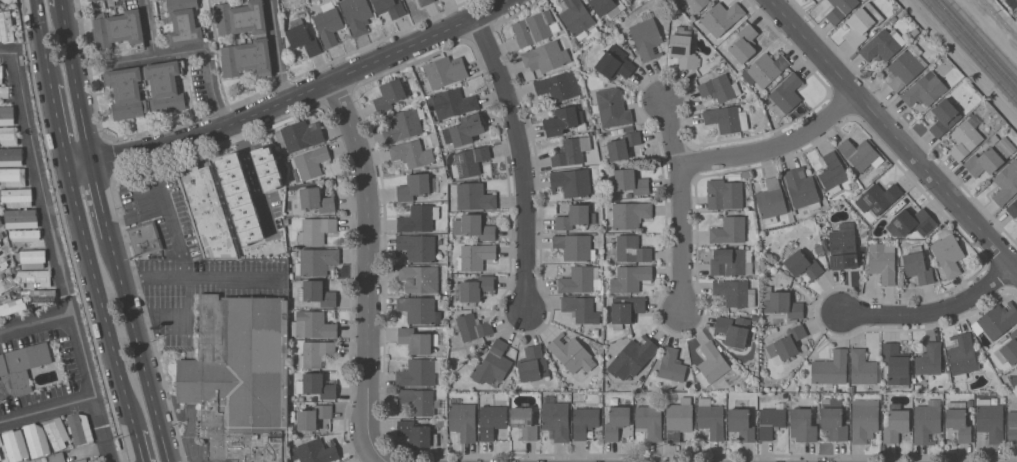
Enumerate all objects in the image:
building: (89, 0)
building: (675, 1)
road: (61, 2)
building: (425, 2)
building: (1012, 2)
building: (697, 4)
building: (390, 7)
building: (605, 7)
building: (840, 9)
building: (356, 15)
building: (576, 16)
building: (721, 17)
building: (894, 17)
building: (183, 22)
building: (328, 23)
building: (862, 23)
building: (6, 26)
building: (117, 28)
building: (532, 28)
building: (647, 36)
railway: (983, 36)
building: (302, 38)
building: (260, 40)
building: (580, 41)
railway: (978, 42)
road: (42, 43)
building: (743, 43)
building: (883, 44)
building: (684, 46)
railway: (971, 49)
road: (190, 50)
road: (277, 50)
road: (6, 53)
building: (545, 56)
building: (614, 62)
building: (905, 67)
building: (765, 68)
building: (445, 71)
building: (1, 73)
road: (75, 84)
building: (560, 86)
building: (720, 87)
building: (127, 88)
building: (924, 90)
building: (4, 91)
building: (389, 94)
building: (786, 94)
road: (291, 98)
building: (452, 102)
building: (612, 107)
building: (804, 108)
building: (6, 115)
building: (944, 117)
building: (725, 119)
building: (564, 121)
building: (404, 124)
road: (58, 128)
building: (464, 129)
building: (629, 129)
building: (620, 130)
building: (569, 132)
building: (300, 134)
road: (893, 134)
building: (8, 135)
building: (965, 137)
building: (993, 138)
building: (621, 145)
road: (777, 147)
building: (571, 150)
building: (411, 153)
building: (860, 153)
building: (11, 156)
building: (990, 157)
road: (523, 159)
building: (469, 161)
building: (311, 162)
building: (267, 167)
building: (441, 169)
building: (832, 172)
building: (12, 176)
road: (157, 176)
road: (252, 178)
building: (628, 181)
building: (571, 182)
building: (1006, 183)
building: (416, 186)
building: (801, 188)
building: (724, 194)
building: (473, 195)
building: (17, 197)
building: (877, 197)
road: (99, 199)
building: (240, 199)
building: (317, 199)
building: (770, 199)
road: (683, 204)
building: (1013, 208)
building: (205, 209)
road: (167, 210)
building: (630, 213)
building: (575, 216)
building: (0, 217)
building: (21, 217)
building: (418, 218)
building: (1, 221)
building: (911, 222)
building: (0, 224)
road: (51, 226)
building: (474, 226)
building: (729, 229)
building: (315, 230)
building: (24, 234)
building: (144, 238)
building: (824, 241)
building: (1, 242)
building: (575, 246)
building: (843, 246)
building: (416, 247)
building: (818, 247)
building: (631, 248)
building: (948, 252)
building: (474, 256)
building: (33, 258)
building: (316, 261)
building: (731, 261)
building: (882, 261)
building: (3, 262)
building: (800, 263)
building: (917, 265)
building: (901, 268)
road: (371, 270)
building: (36, 275)
road: (193, 277)
building: (419, 278)
building: (630, 278)
building: (581, 279)
building: (6, 282)
building: (474, 288)
building: (317, 292)
building: (735, 292)
building: (43, 296)
road: (99, 300)
road: (187, 302)
building: (781, 302)
building: (12, 306)
building: (417, 308)
building: (580, 309)
building: (626, 309)
road: (934, 311)
building: (754, 318)
building: (997, 319)
building: (791, 320)
road: (35, 322)
building: (312, 324)
building: (471, 326)
building: (773, 329)
building: (733, 330)
building: (418, 340)
building: (786, 344)
road: (139, 348)
building: (1009, 349)
building: (481, 352)
building: (315, 353)
building: (571, 353)
building: (962, 354)
building: (632, 357)
building: (929, 358)
building: (493, 363)
building: (533, 363)
building: (711, 363)
building: (24, 364)
building: (671, 364)
building: (896, 365)
building: (862, 367)
building: (1016, 368)
building: (830, 369)
building: (418, 371)
building: (689, 376)
building: (240, 377)
building: (1013, 380)
building: (317, 385)
building: (421, 401)
building: (970, 402)
road: (47, 410)
building: (313, 415)
building: (555, 418)
building: (678, 418)
building: (711, 418)
building: (816, 419)
building: (834, 419)
building: (864, 419)
building: (958, 419)
building: (463, 420)
building: (492, 420)
building: (585, 420)
building: (990, 420)
building: (524, 421)
building: (650, 421)
building: (771, 421)
building: (927, 421)
building: (440, 422)
building: (617, 422)
building: (896, 422)
building: (741, 423)
building: (802, 424)
building: (80, 427)
building: (1012, 427)
road: (102, 430)
building: (56, 432)
building: (417, 432)
building: (36, 439)
building: (1, 442)
building: (15, 444)
road: (138, 446)
building: (316, 451)
building: (0, 457)
building: (57, 457)
building: (0, 460)
building: (79, 460)

